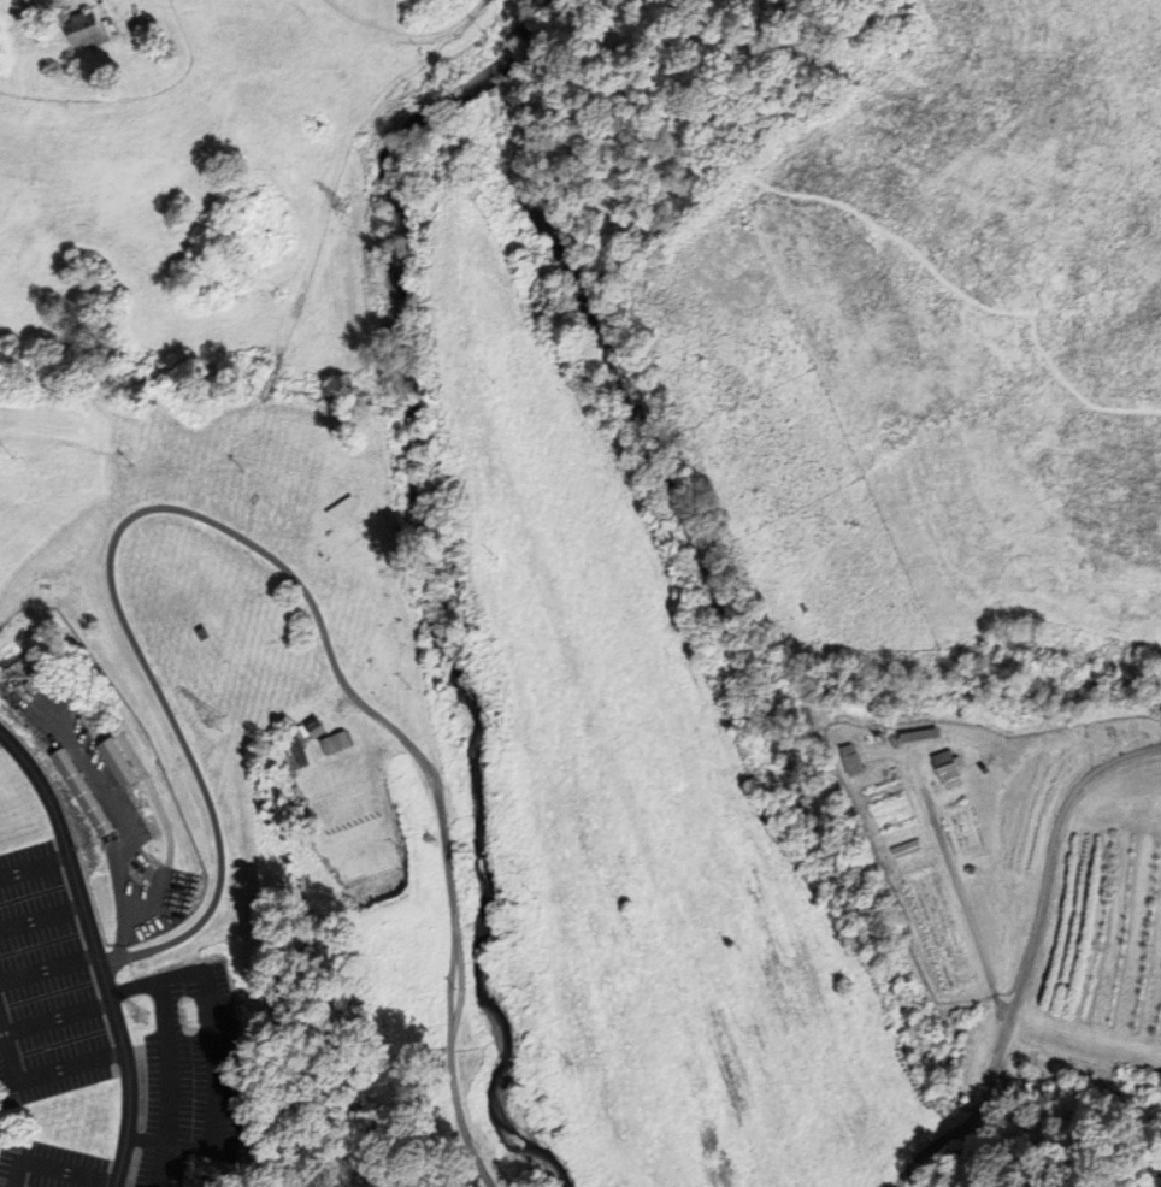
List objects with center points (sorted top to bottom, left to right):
building: (110, 26)
building: (86, 29)
building: (151, 52)
road: (917, 154)
power tower: (335, 212)
road: (120, 456)
river: (441, 565)
road: (124, 622)
power tower: (205, 721)
building: (313, 722)
building: (302, 731)
building: (918, 733)
building: (336, 740)
building: (287, 744)
building: (300, 750)
building: (289, 757)
building: (849, 758)
building: (122, 761)
building: (107, 763)
building: (944, 763)
building: (83, 790)
building: (78, 801)
road: (118, 817)
building: (906, 848)
road: (35, 867)
road: (959, 896)
parking lot: (153, 904)
road: (41, 917)
road: (456, 928)
crop: (935, 932)
road: (95, 950)
road: (1030, 961)
road: (48, 968)
parking lot: (45, 984)
road: (57, 1017)
power tower: (134, 1017)
road: (216, 1055)
parking lot: (188, 1071)
road: (40, 1073)
road: (169, 1083)
parking lot: (47, 1164)
road: (54, 1168)
road: (7, 1181)

